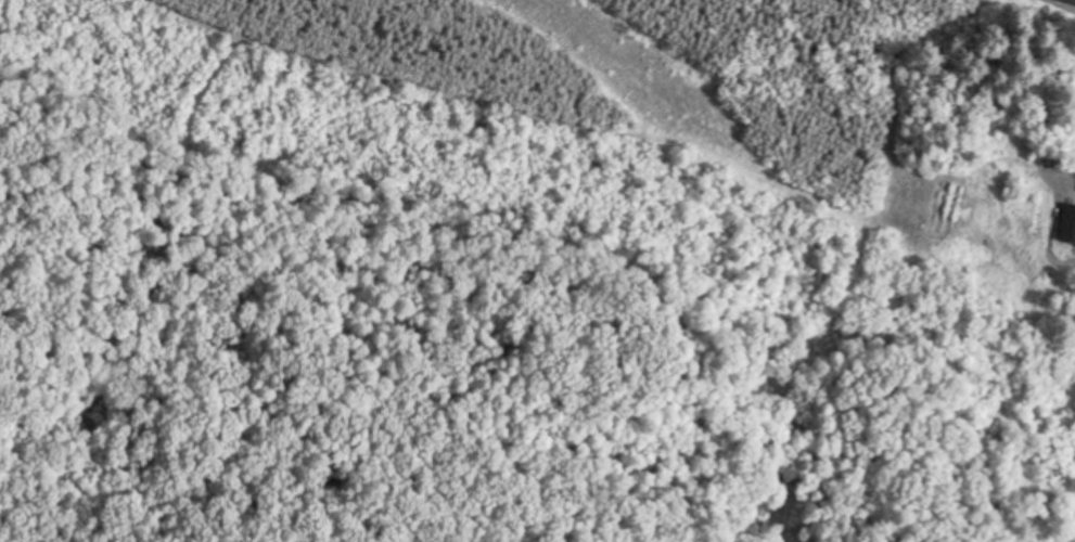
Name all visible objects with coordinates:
building: (1067, 223)

